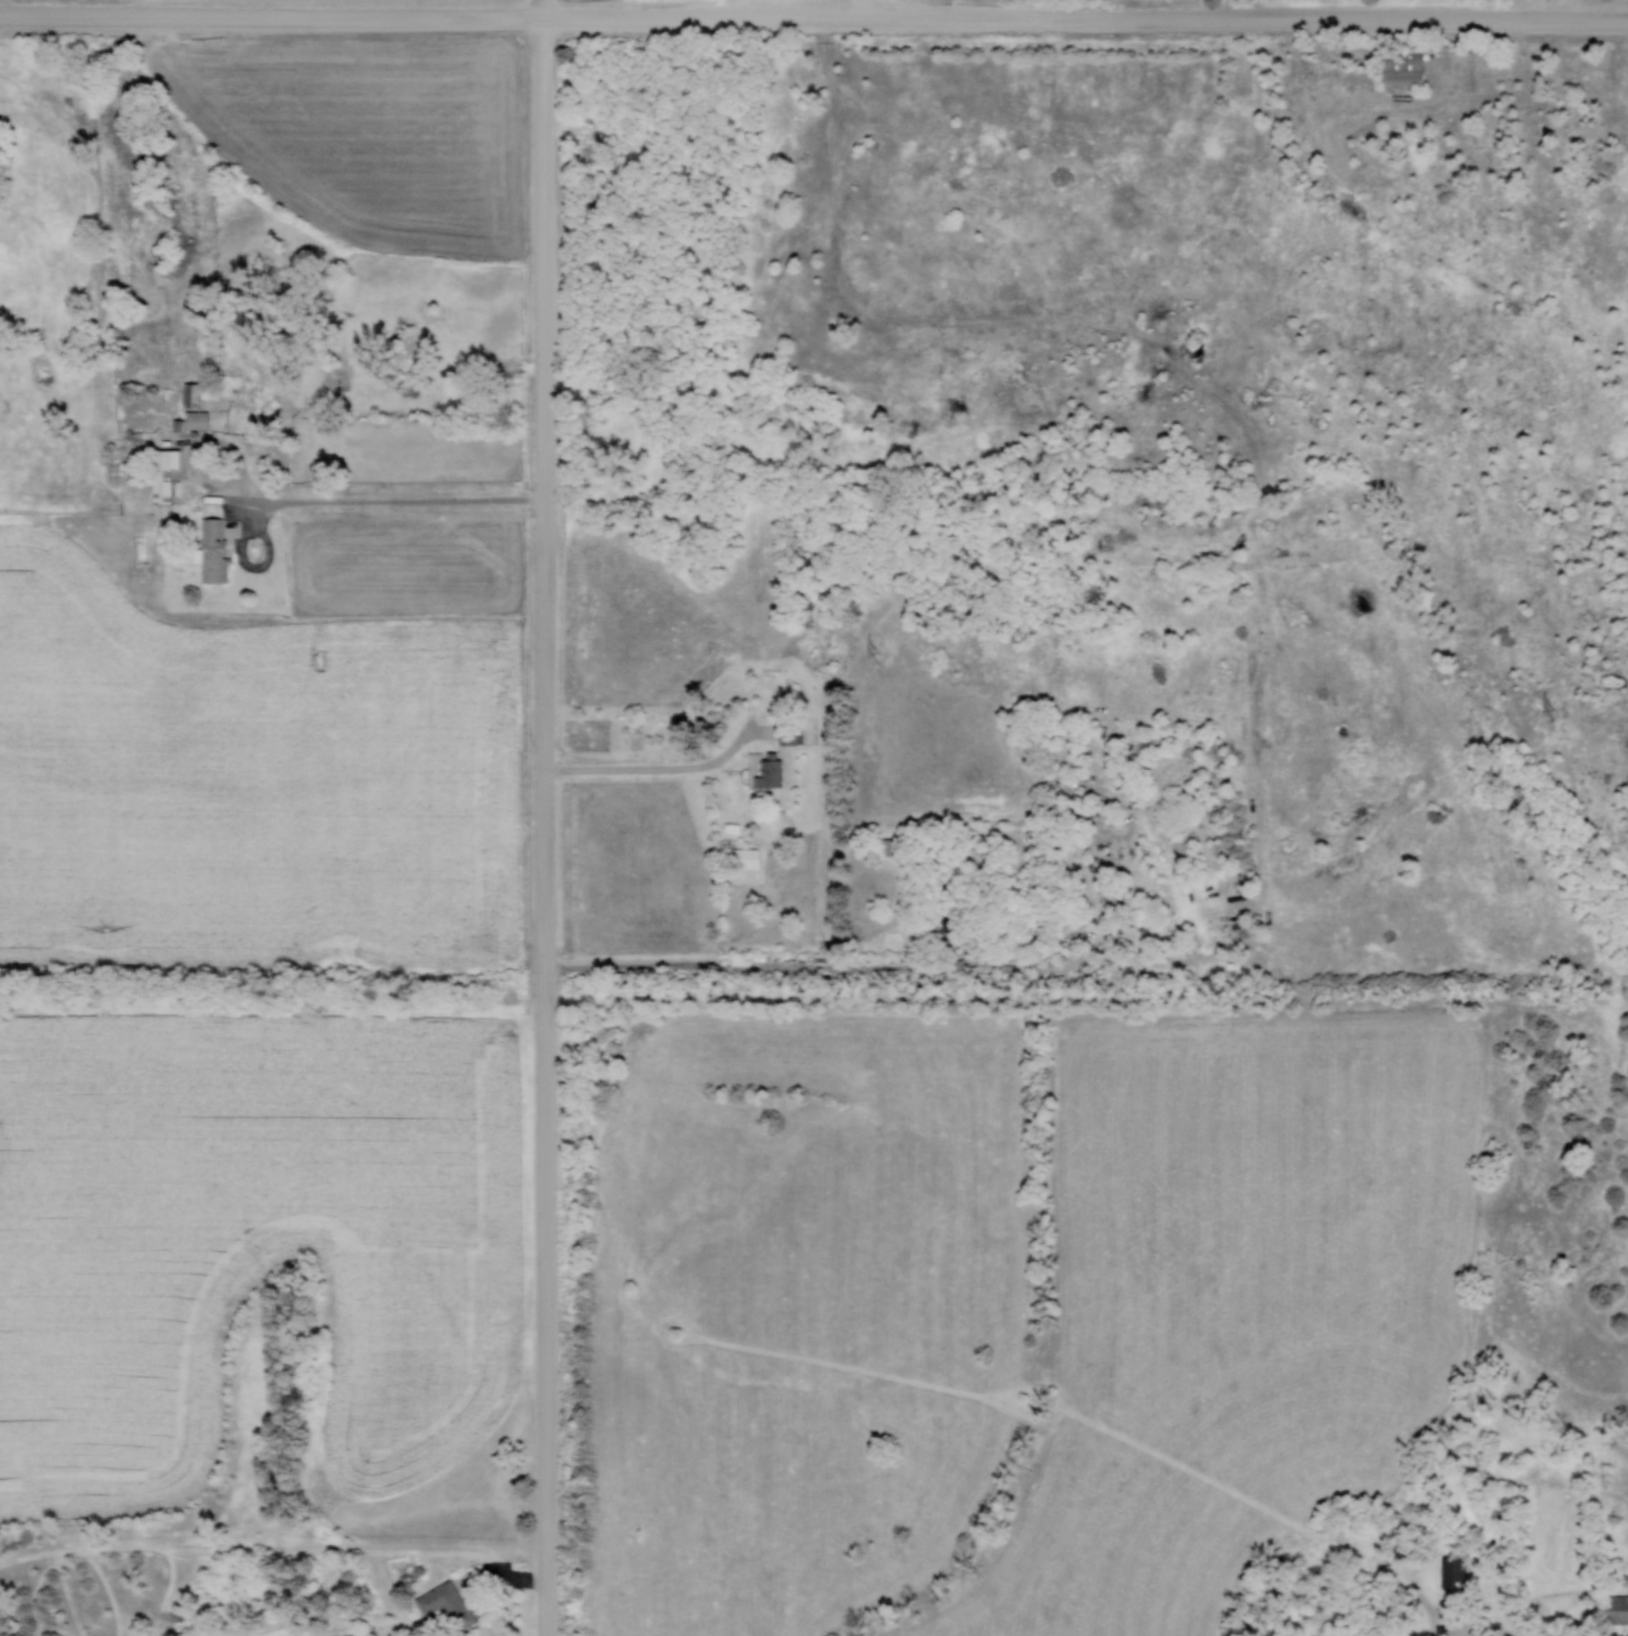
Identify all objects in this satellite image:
road: (548, 10)
road: (813, 20)
building: (1410, 67)
road: (1174, 360)
building: (193, 394)
building: (203, 418)
building: (170, 473)
road: (415, 500)
building: (221, 549)
power tower: (879, 657)
power tower: (321, 659)
power tower: (1561, 714)
building: (794, 735)
road: (669, 771)
building: (774, 772)
road: (551, 828)
building: (1236, 830)
building: (899, 845)
building: (751, 858)
building: (948, 923)
road: (837, 970)
road: (1545, 1527)
building: (1456, 1572)
building: (453, 1606)
building: (1621, 1609)

